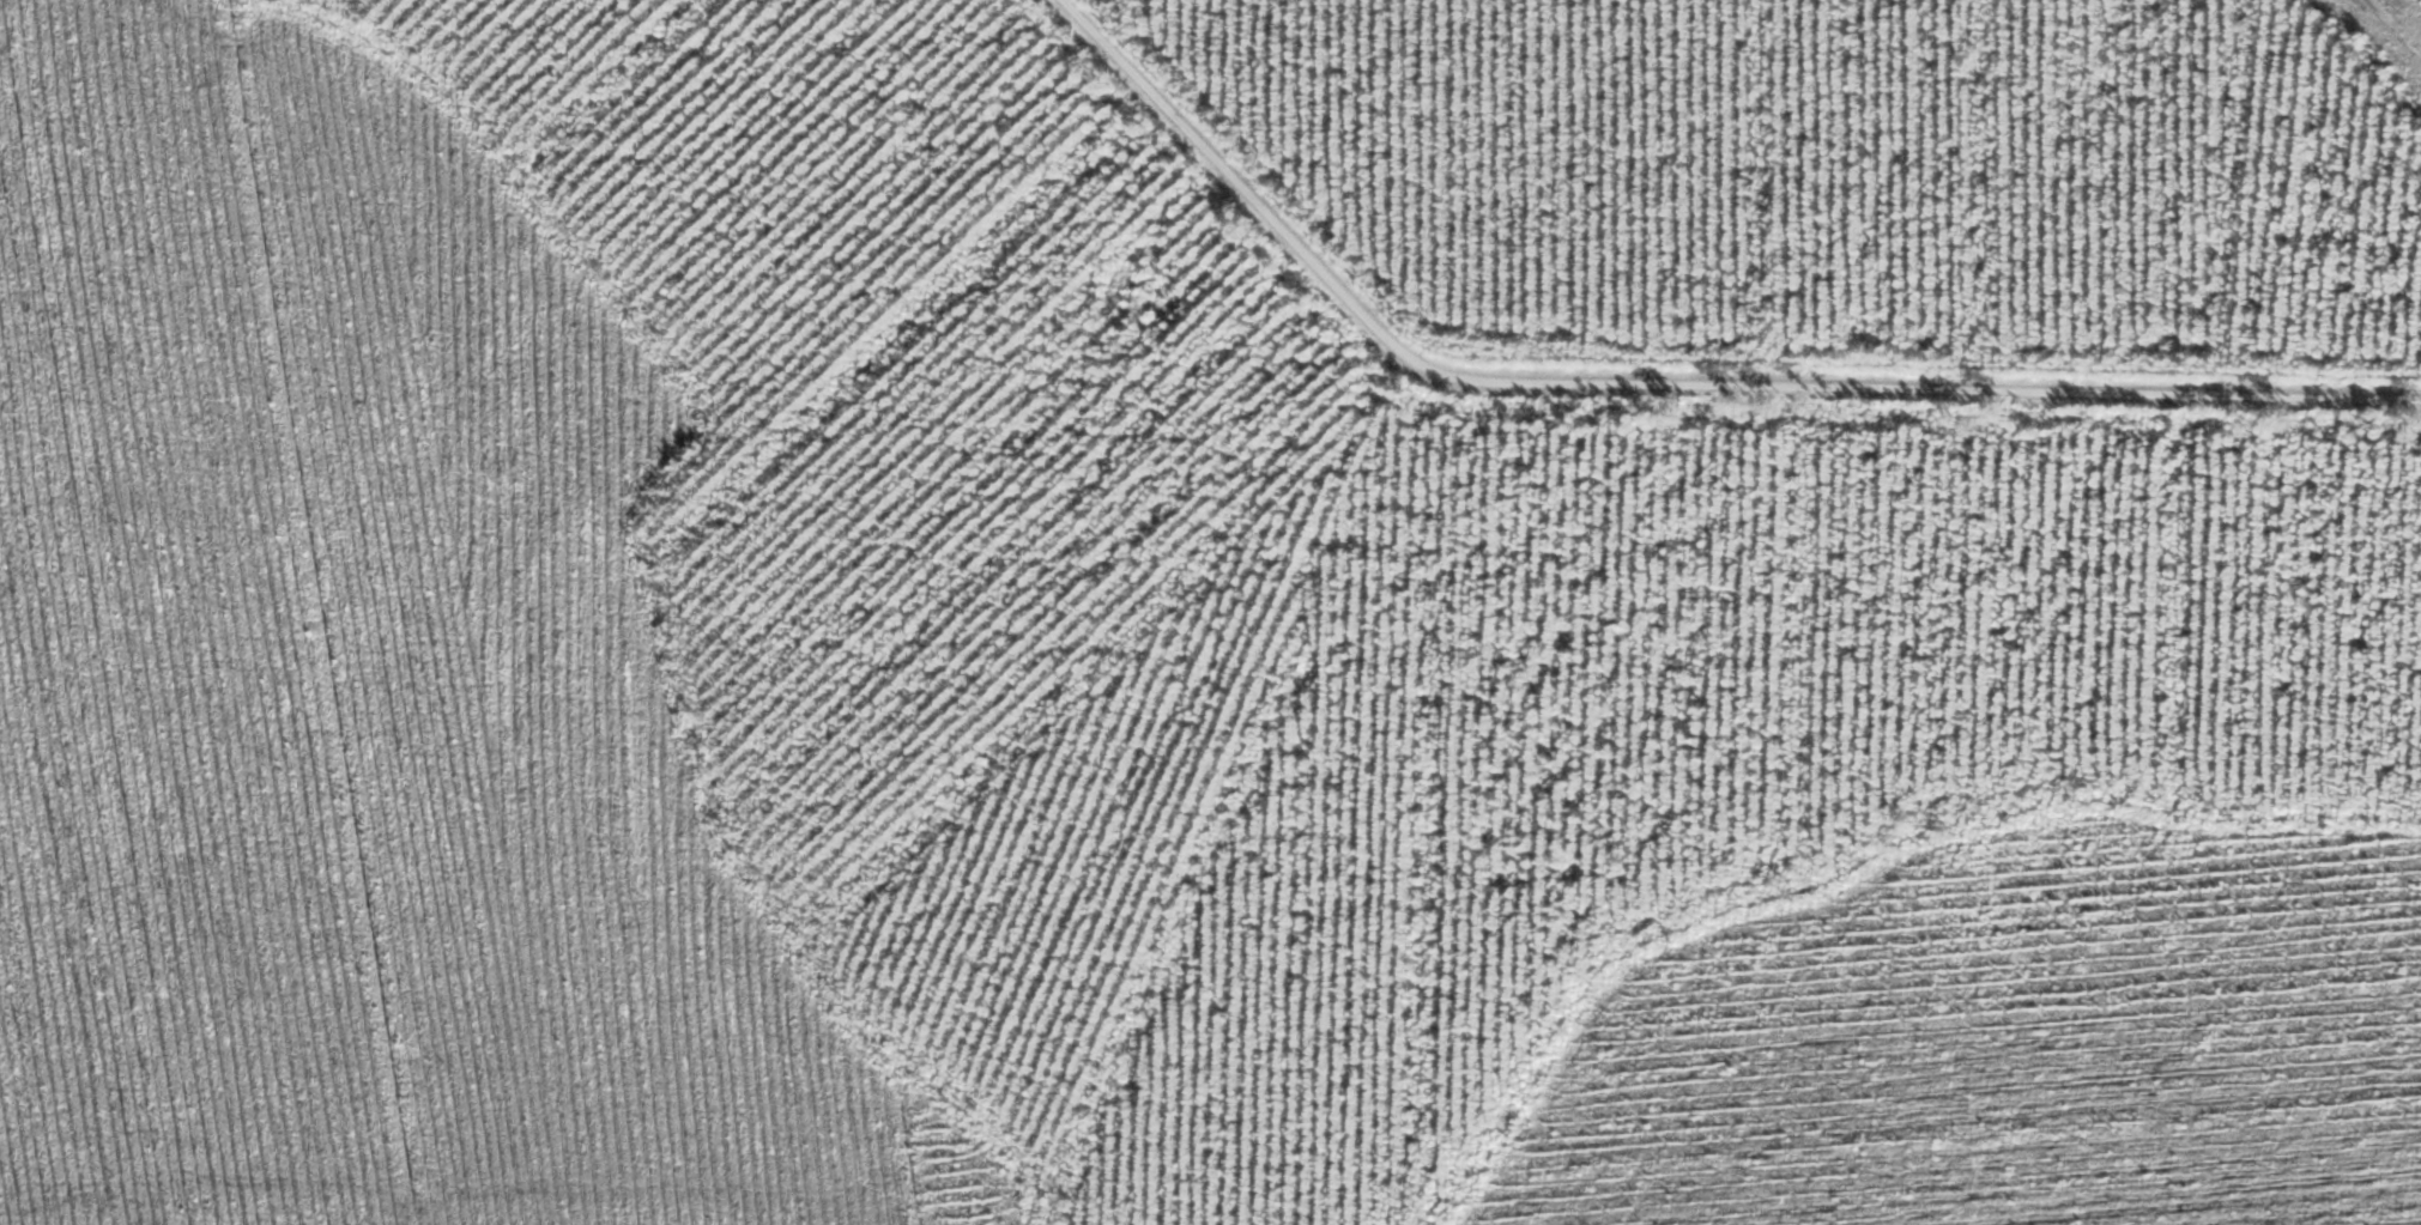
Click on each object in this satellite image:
road: (1767, 304)

